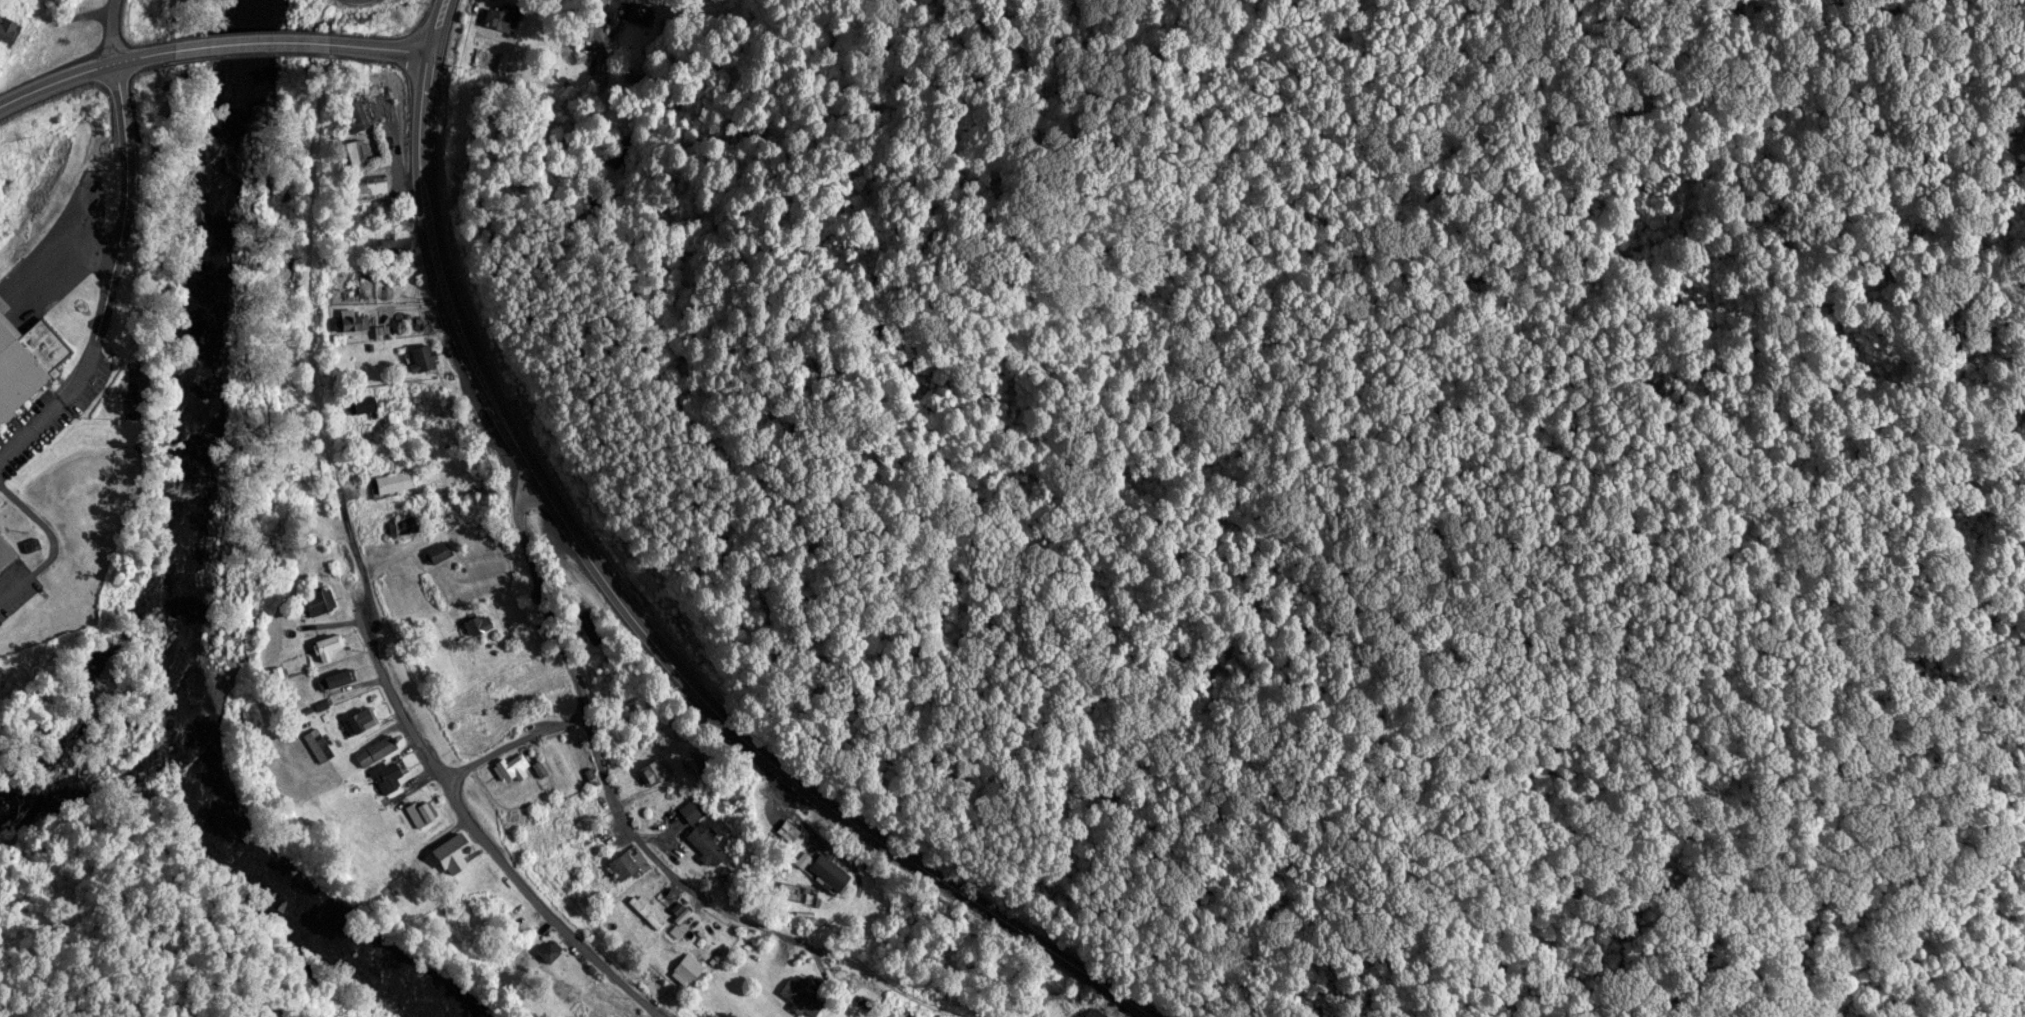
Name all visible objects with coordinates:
building: (636, 9)
road: (433, 24)
building: (10, 27)
road: (119, 30)
road: (206, 45)
building: (358, 113)
building: (357, 149)
building: (375, 185)
building: (402, 242)
building: (359, 284)
road: (310, 299)
building: (349, 313)
building: (425, 357)
building: (27, 361)
building: (364, 402)
building: (395, 480)
building: (409, 522)
river: (155, 545)
building: (7, 550)
building: (440, 550)
road: (541, 592)
building: (321, 599)
building: (479, 622)
building: (594, 629)
road: (648, 632)
building: (330, 645)
building: (338, 677)
building: (362, 719)
road: (512, 739)
building: (321, 744)
building: (379, 748)
building: (694, 763)
building: (513, 766)
building: (655, 771)
building: (389, 774)
building: (423, 811)
building: (704, 830)
road: (479, 831)
building: (458, 849)
building: (630, 862)
road: (662, 866)
building: (833, 869)
building: (647, 908)
building: (681, 927)
building: (691, 967)
building: (803, 996)
building: (1098, 1012)

